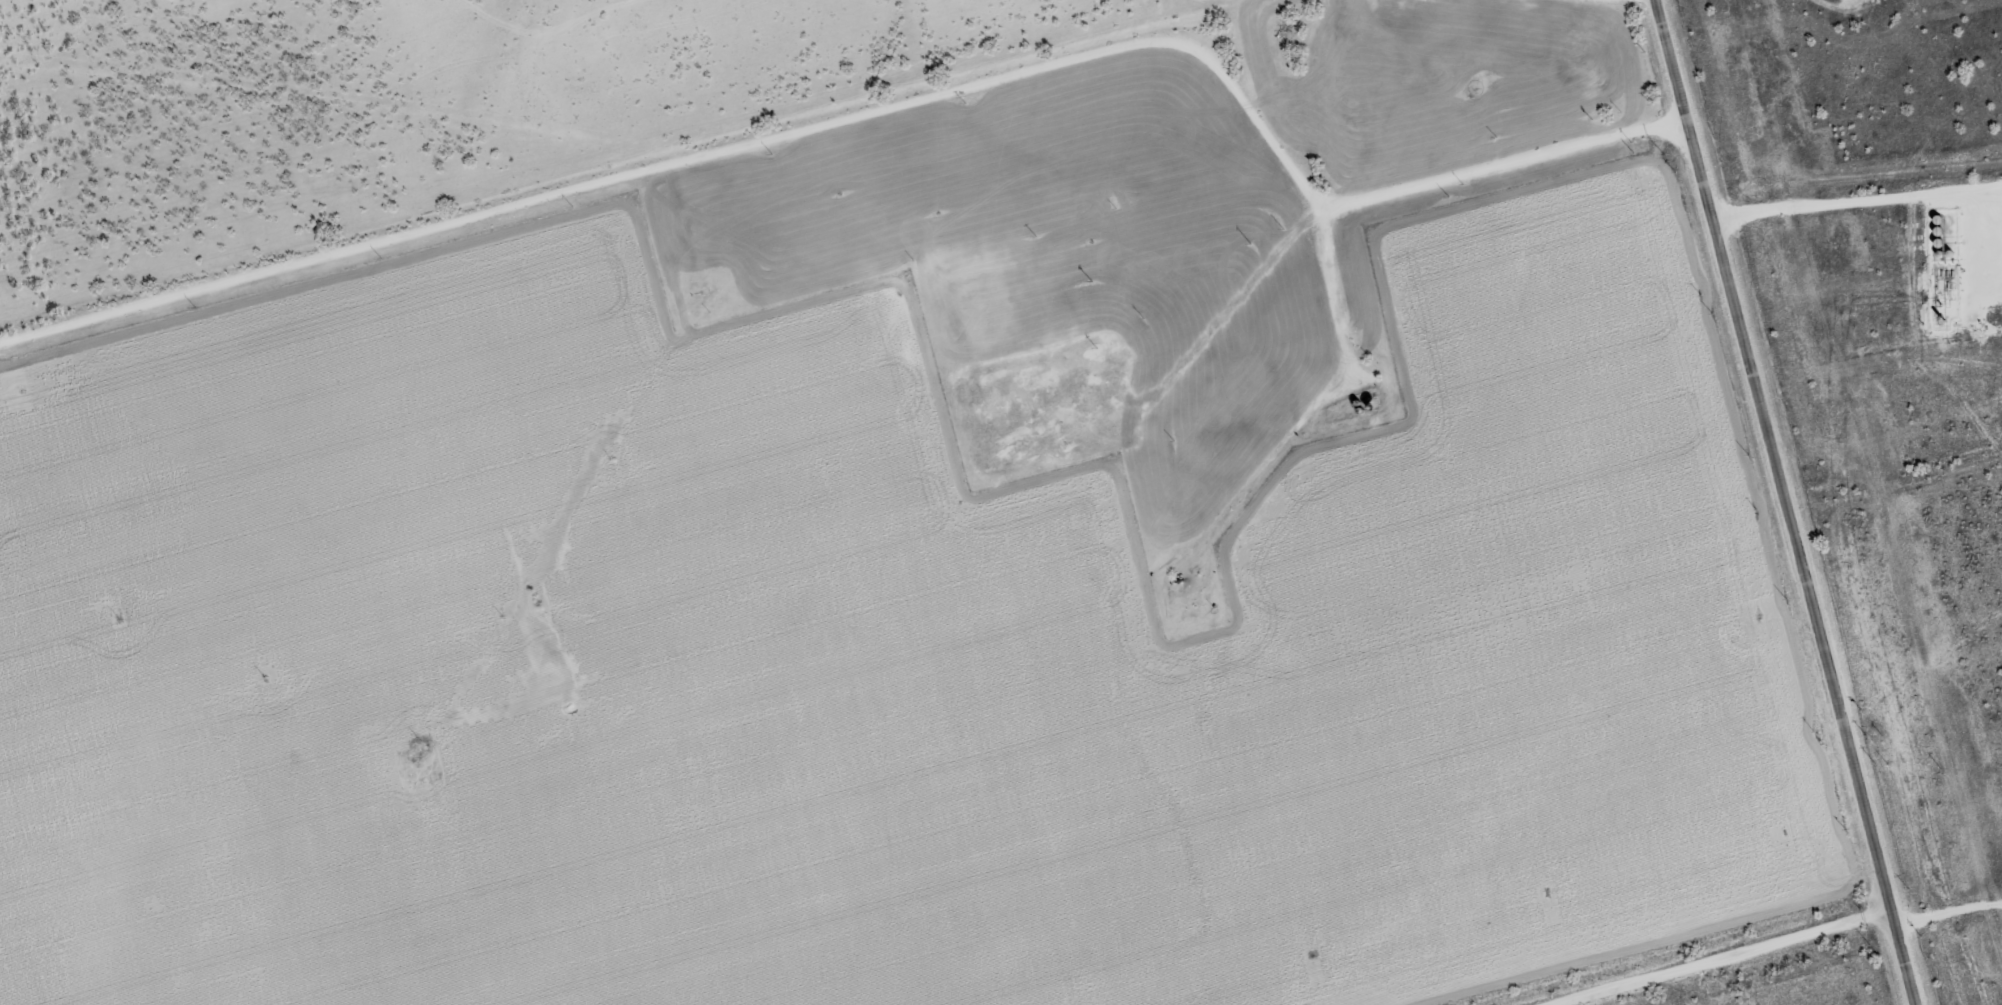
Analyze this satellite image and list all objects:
road: (875, 105)
road: (1857, 200)
building: (1023, 445)
road: (1786, 502)

